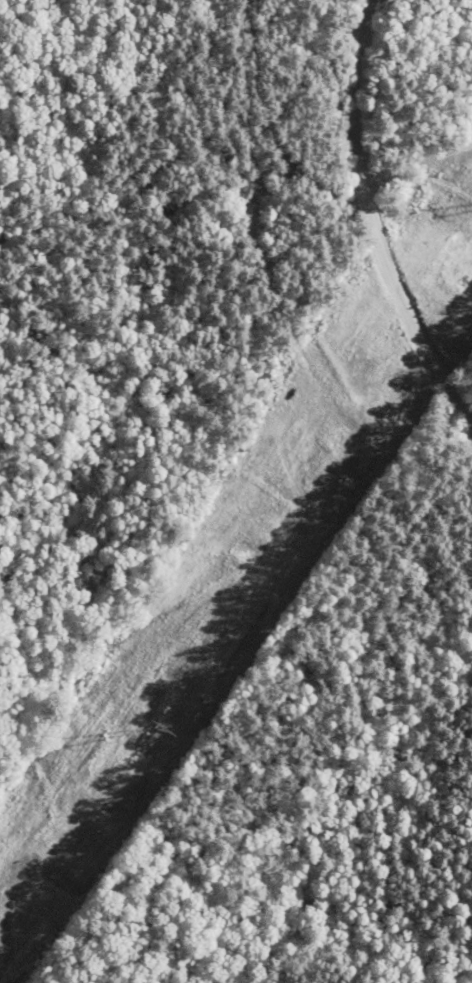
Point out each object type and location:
road: (434, 114)
road: (403, 165)
power tower: (158, 728)

